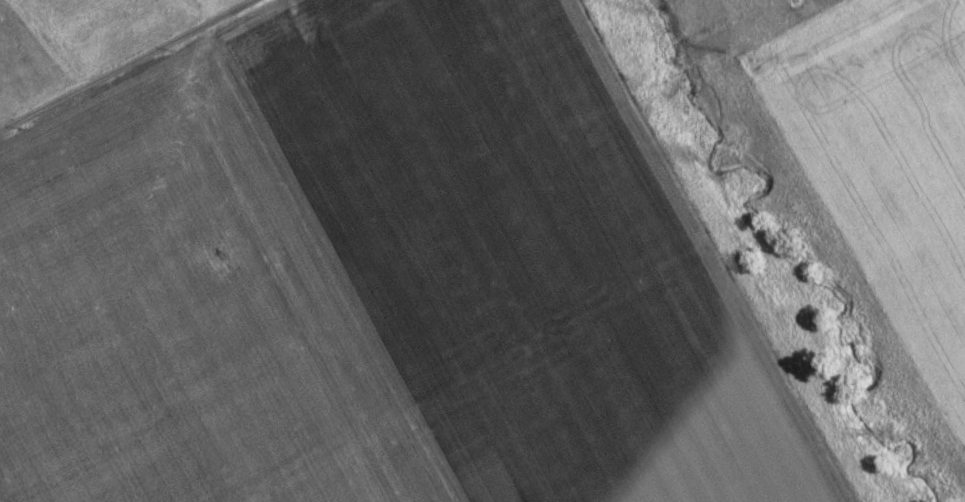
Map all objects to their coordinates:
road: (124, 65)

